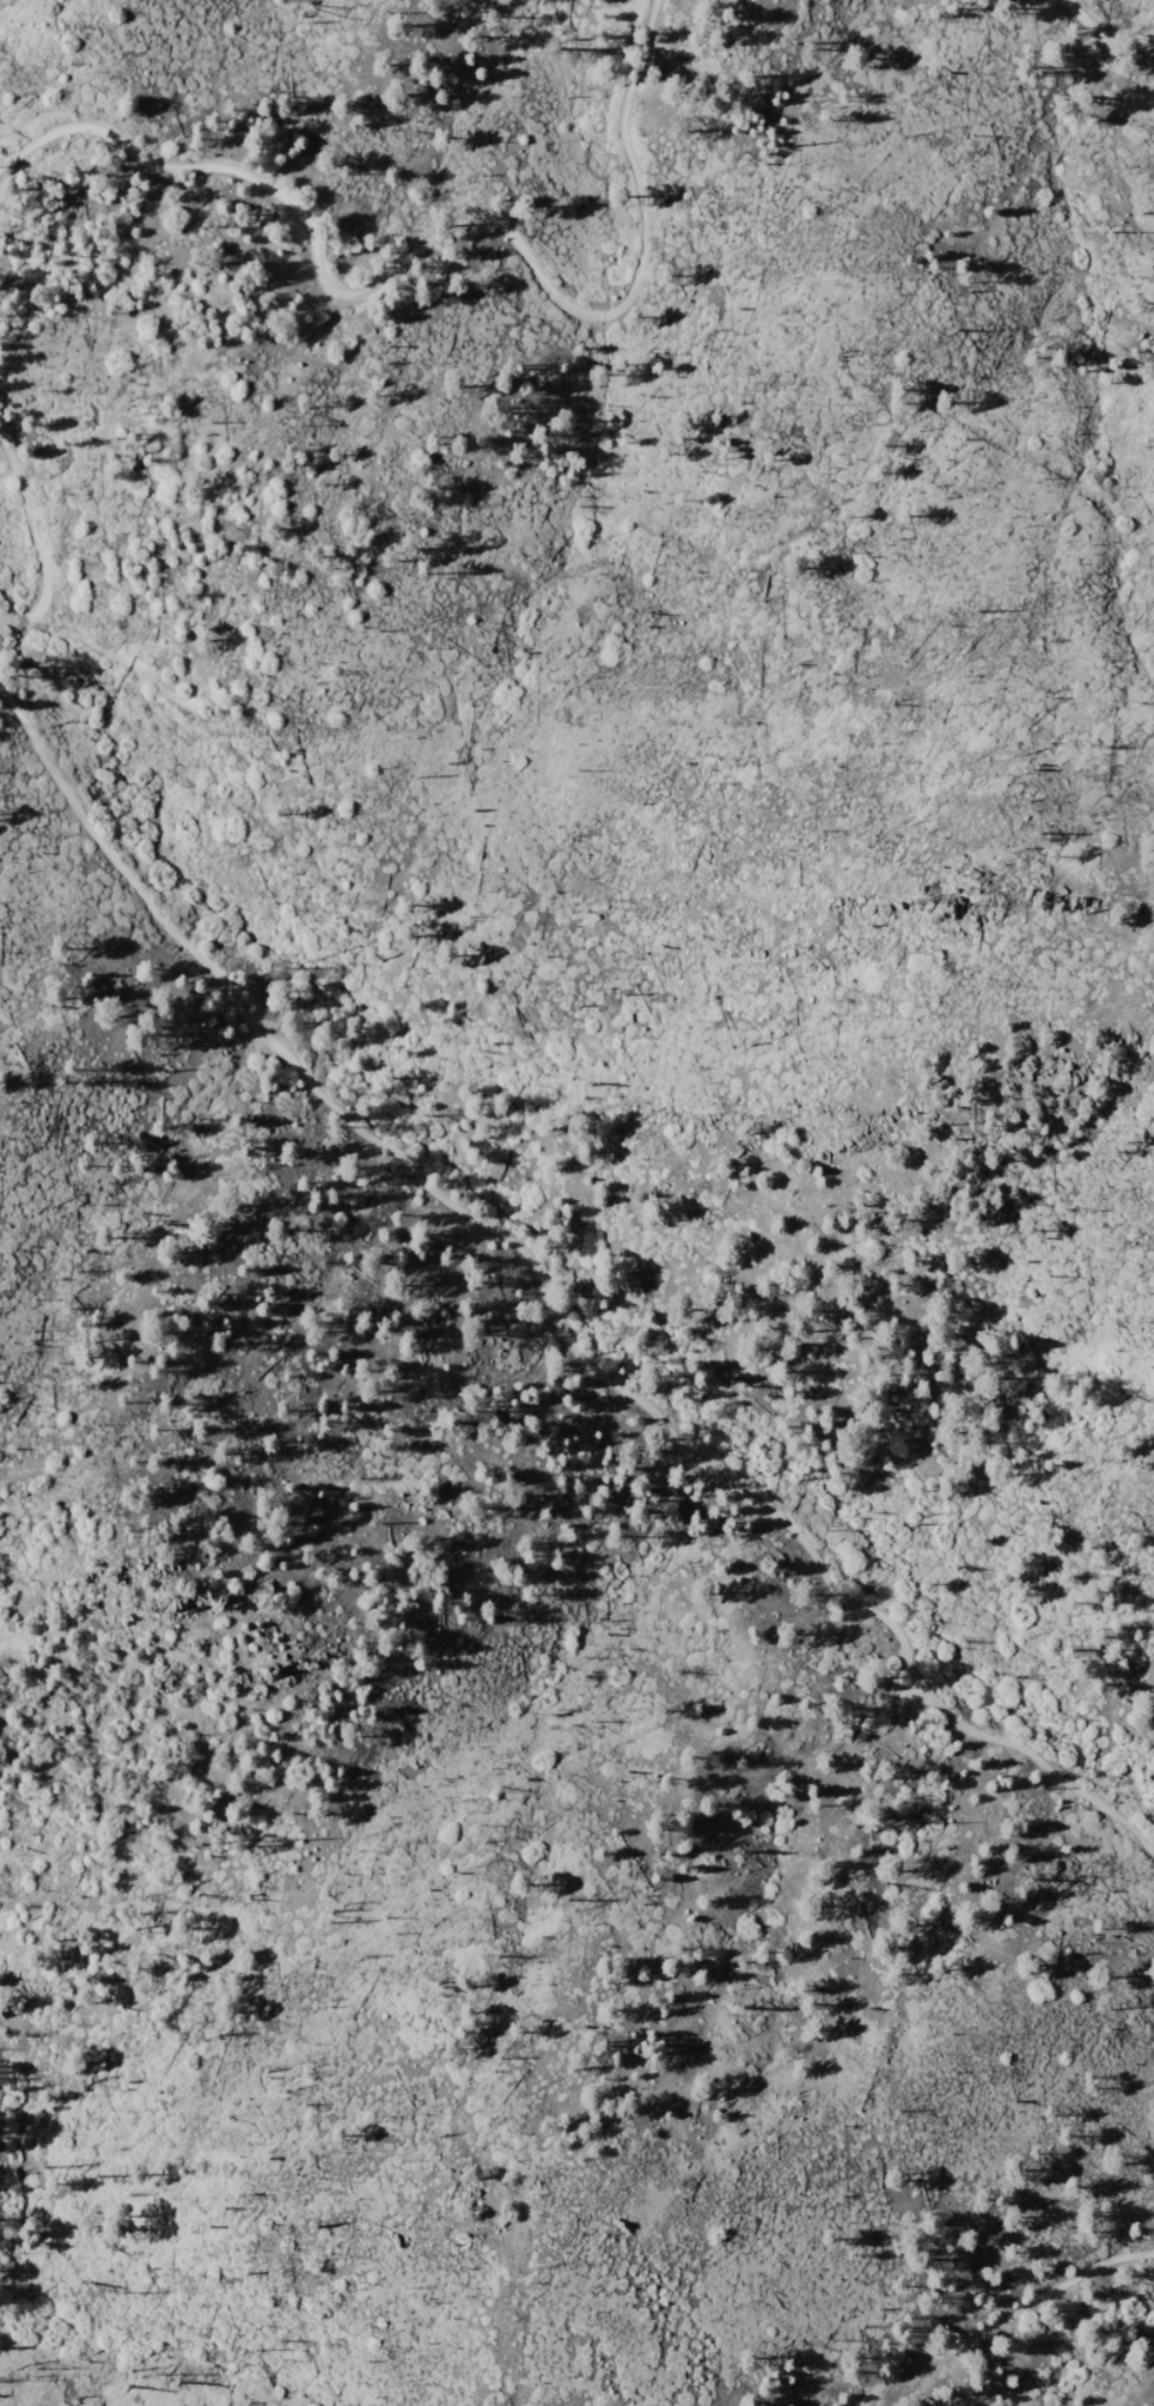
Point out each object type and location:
road: (1106, 28)
road: (434, 236)
road: (33, 536)
road: (555, 1311)
road: (999, 2320)

